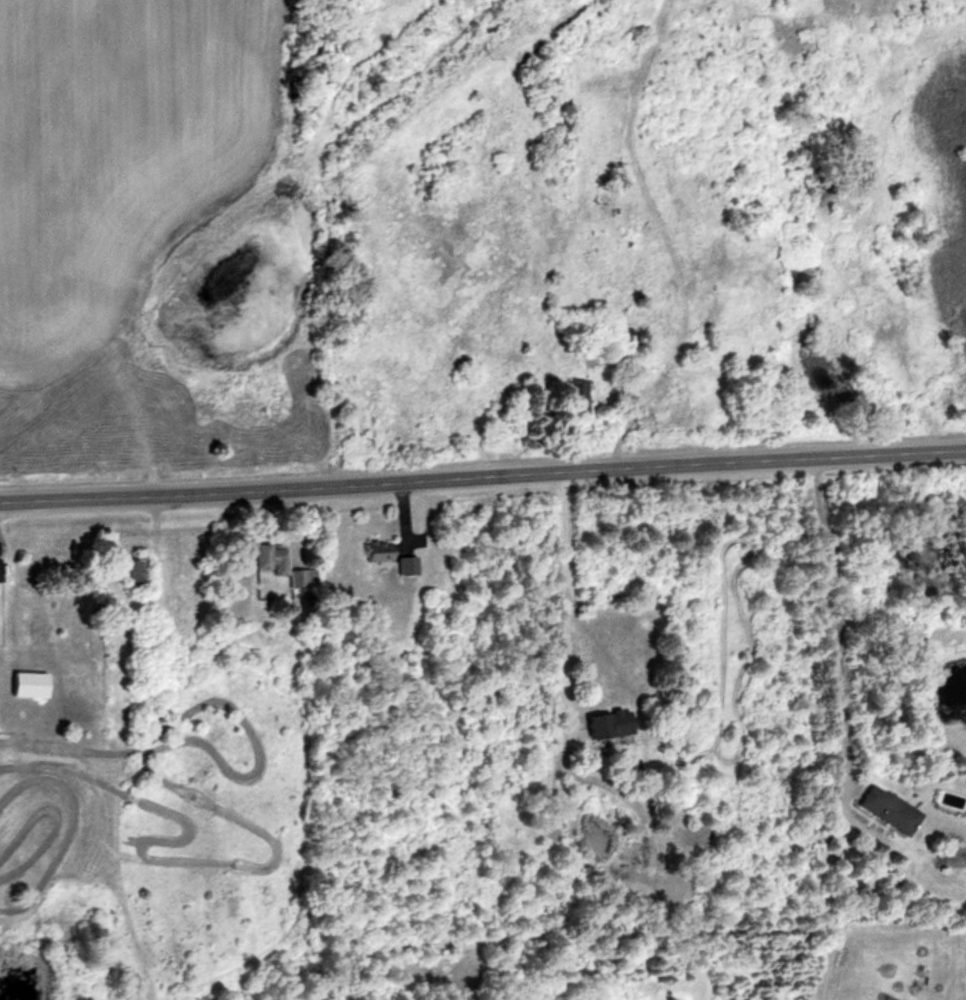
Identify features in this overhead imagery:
road: (483, 474)
building: (283, 563)
building: (1, 569)
building: (140, 573)
road: (558, 588)
road: (827, 634)
building: (32, 682)
building: (614, 722)
building: (952, 799)
building: (892, 808)

